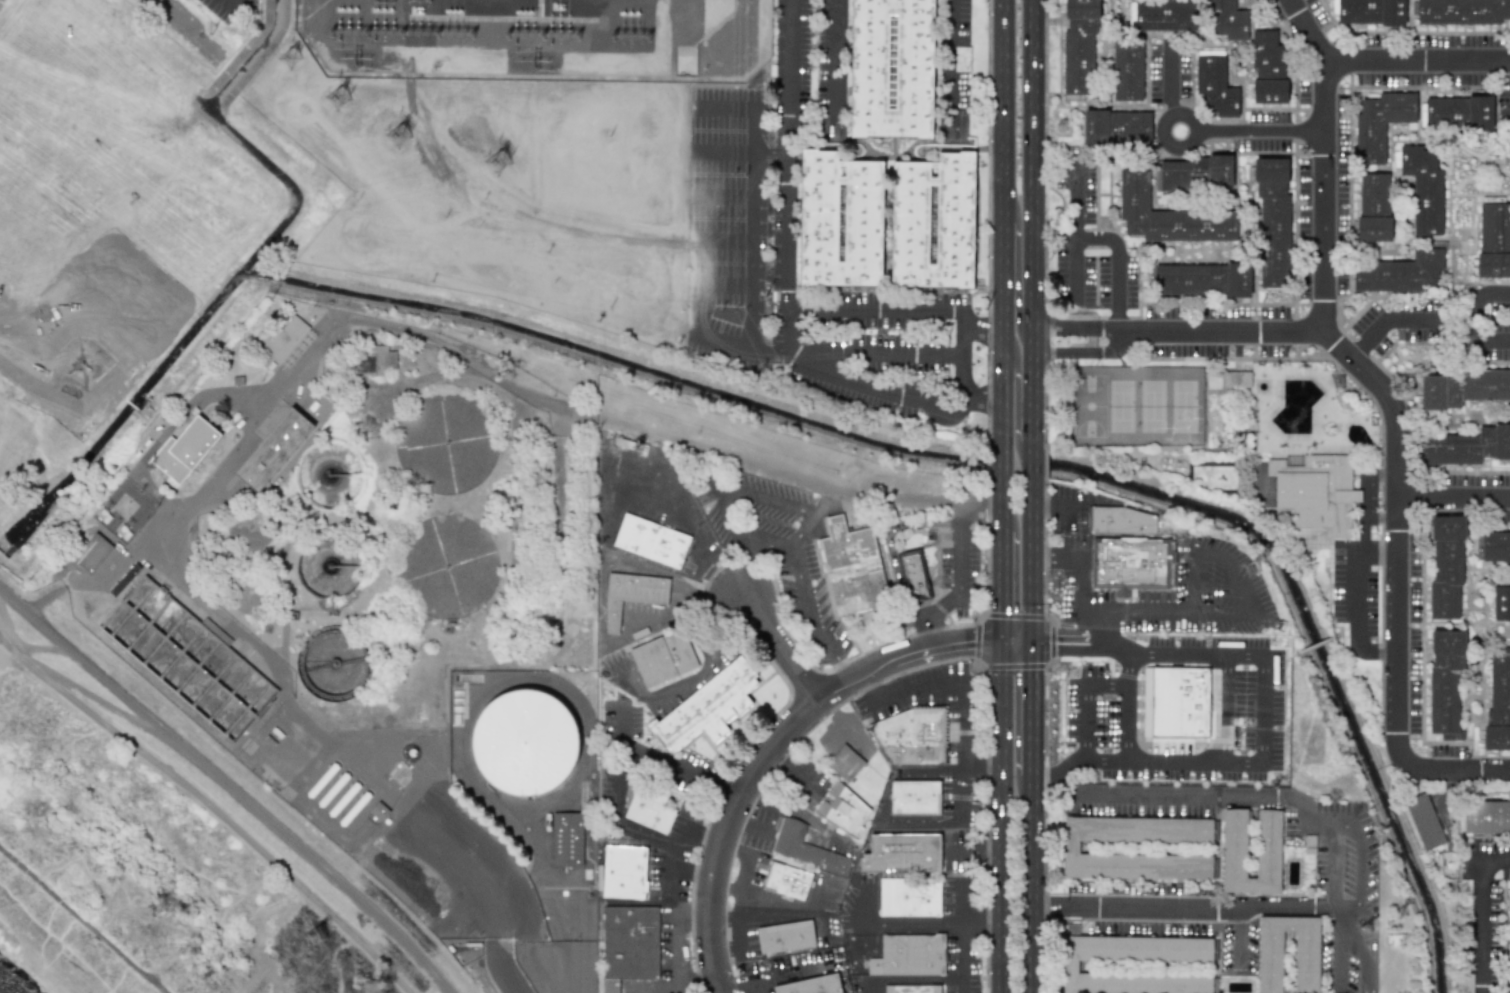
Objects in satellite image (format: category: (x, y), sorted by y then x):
road: (234, 4)
building: (1368, 11)
building: (1460, 11)
building: (1166, 16)
building: (1227, 20)
road: (188, 28)
power tower: (346, 31)
power tower: (381, 31)
power tower: (416, 32)
power tower: (451, 32)
power tower: (626, 36)
power tower: (523, 37)
power tower: (559, 37)
power substation: (535, 39)
building: (1079, 51)
road: (949, 58)
power tower: (287, 59)
road: (1416, 60)
road: (837, 68)
building: (891, 68)
building: (1268, 69)
building: (1127, 71)
road: (1170, 77)
building: (1215, 86)
power tower: (338, 98)
road: (1005, 111)
building: (1443, 113)
building: (1480, 113)
building: (1380, 123)
power tower: (1056, 127)
building: (1117, 127)
road: (1205, 130)
road: (752, 132)
power tower: (398, 138)
road: (729, 157)
road: (1322, 160)
power tower: (497, 163)
building: (1192, 174)
building: (1423, 188)
road: (1034, 200)
road: (728, 206)
building: (1374, 207)
building: (1168, 216)
building: (841, 220)
building: (933, 222)
building: (1273, 223)
road: (1104, 238)
building: (1494, 240)
road: (725, 249)
road: (1005, 250)
road: (1075, 262)
building: (1402, 270)
building: (1202, 279)
road: (788, 283)
road: (757, 293)
road: (726, 303)
road: (879, 309)
road: (1016, 309)
road: (1465, 318)
road: (1384, 323)
road: (1074, 327)
road: (393, 332)
building: (281, 341)
road: (875, 352)
road: (1080, 352)
road: (962, 359)
building: (374, 360)
road: (1015, 367)
building: (1237, 379)
building: (1461, 388)
road: (1003, 404)
park: (1138, 405)
road: (1034, 422)
road: (1396, 432)
building: (1464, 447)
building: (273, 449)
building: (184, 450)
building: (1292, 460)
road: (228, 463)
building: (1316, 492)
road: (1453, 496)
road: (726, 498)
road: (969, 503)
road: (1057, 504)
road: (1382, 514)
building: (1122, 521)
road: (696, 535)
road: (888, 540)
building: (651, 541)
road: (1034, 542)
building: (1495, 546)
road: (1378, 551)
building: (91, 553)
road: (1059, 555)
building: (1129, 562)
road: (1358, 565)
building: (1446, 566)
building: (851, 568)
building: (915, 574)
road: (1196, 583)
power tower: (1256, 583)
road: (803, 584)
road: (1003, 586)
road: (962, 587)
road: (698, 593)
building: (632, 595)
road: (1084, 599)
building: (1501, 603)
road: (1215, 613)
road: (34, 618)
building: (159, 626)
road: (1018, 642)
road: (1058, 643)
road: (782, 647)
building: (662, 658)
road: (88, 666)
road: (690, 676)
building: (1214, 676)
building: (1445, 679)
road: (1105, 684)
building: (1175, 700)
building: (1498, 701)
road: (1128, 704)
road: (1222, 707)
building: (707, 708)
road: (1032, 709)
road: (1079, 722)
road: (842, 726)
road: (962, 735)
building: (909, 737)
building: (524, 742)
road: (1272, 742)
road: (327, 745)
road: (775, 747)
building: (844, 763)
road: (666, 765)
road: (1458, 769)
road: (930, 770)
road: (792, 771)
road: (1240, 795)
building: (913, 798)
road: (246, 801)
road: (212, 807)
building: (650, 809)
building: (842, 811)
road: (799, 812)
building: (1422, 816)
building: (1486, 816)
road: (1003, 817)
road: (747, 824)
road: (645, 832)
building: (571, 841)
building: (1268, 843)
building: (804, 848)
building: (1070, 848)
road: (975, 852)
building: (899, 854)
building: (1446, 863)
road: (1357, 869)
road: (745, 871)
building: (624, 872)
road: (694, 877)
building: (786, 880)
road: (1031, 884)
road: (749, 898)
building: (907, 898)
road: (755, 906)
road: (1230, 909)
road: (670, 912)
road: (1481, 912)
power tower: (1404, 916)
road: (85, 921)
road: (916, 921)
road: (820, 923)
building: (1508, 929)
power tower: (318, 937)
building: (783, 937)
road: (743, 945)
building: (909, 955)
road: (960, 956)
building: (1306, 959)
building: (1069, 967)
road: (503, 973)
road: (906, 979)
building: (1464, 983)
building: (810, 985)
road: (655, 986)
road: (742, 986)
building: (911, 989)
building: (1508, 992)

